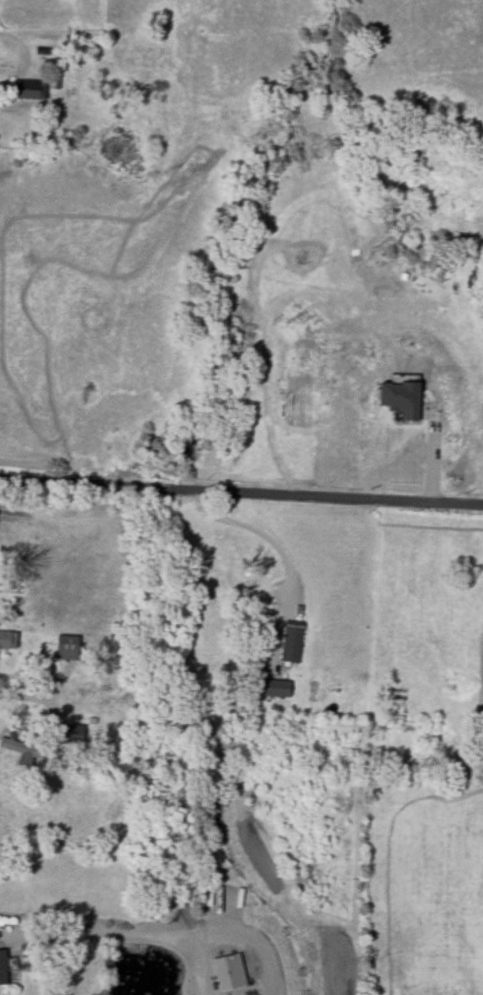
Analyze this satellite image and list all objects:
building: (29, 89)
building: (400, 398)
road: (241, 489)
road: (260, 533)
building: (7, 639)
building: (291, 643)
building: (66, 647)
building: (276, 687)
road: (24, 696)
road: (93, 934)
road: (250, 936)
road: (192, 965)
building: (2, 966)
building: (228, 971)

